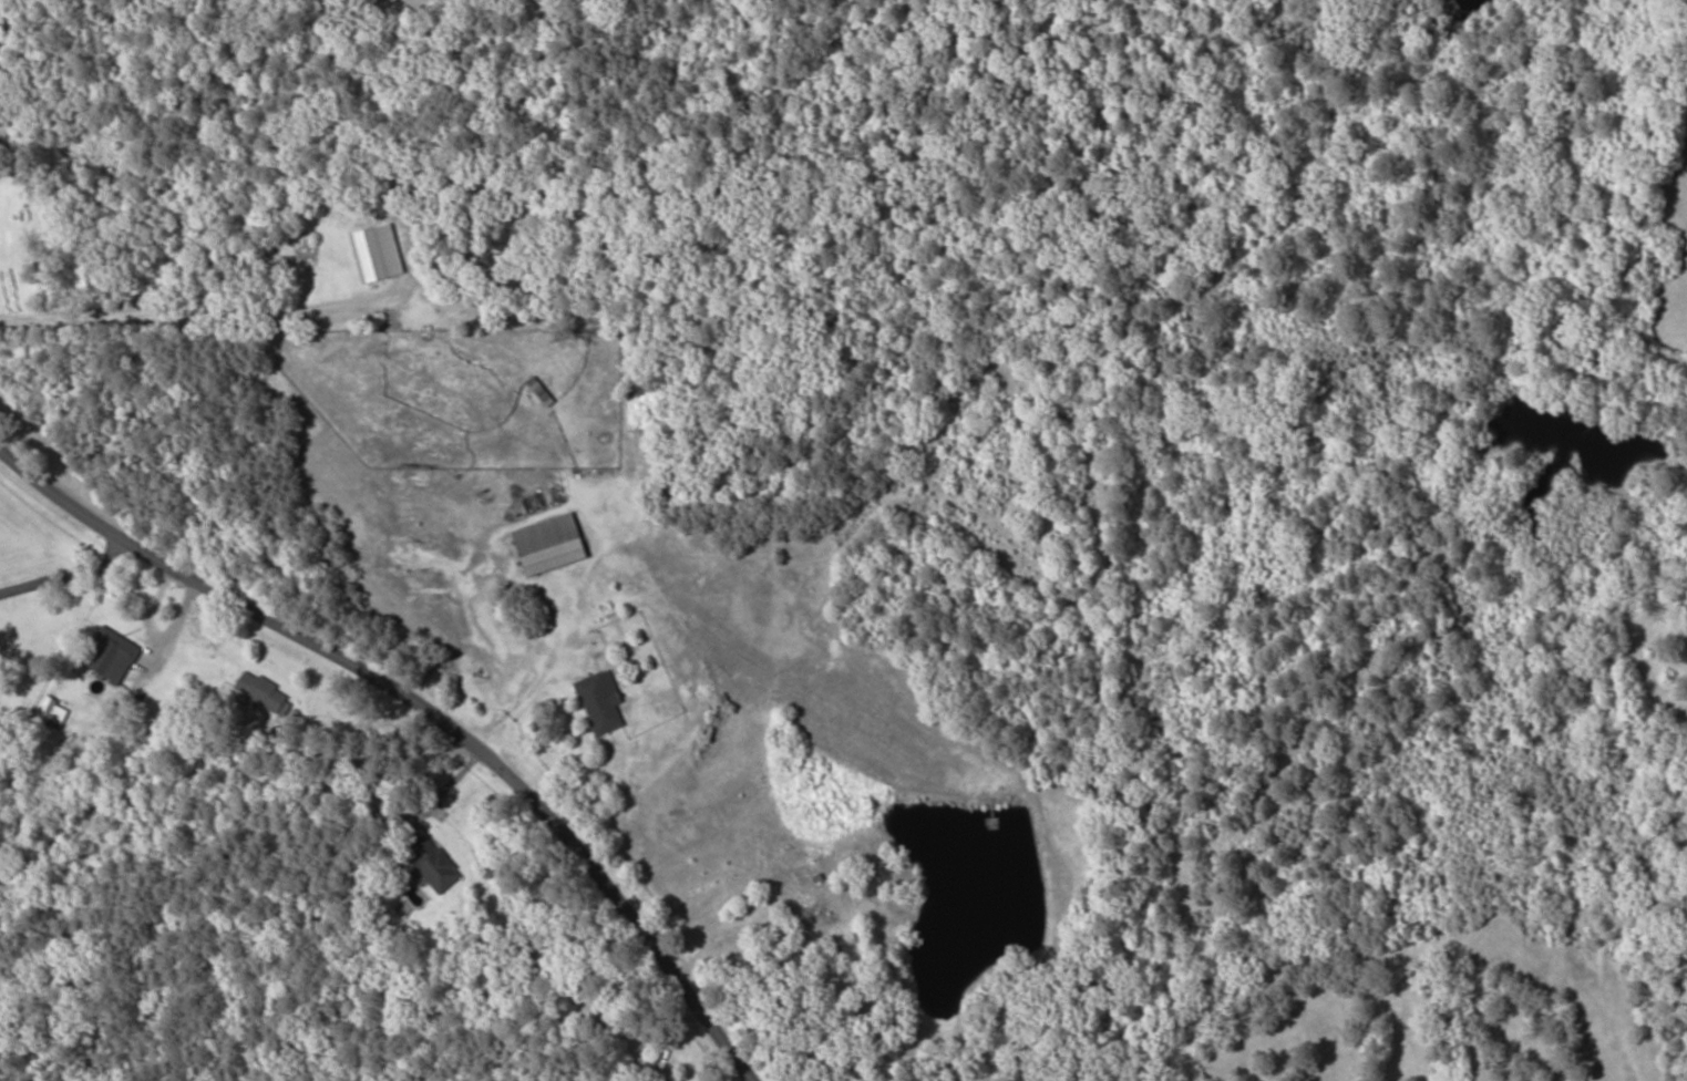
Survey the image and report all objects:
building: (364, 259)
building: (541, 392)
building: (551, 545)
building: (113, 656)
building: (261, 691)
road: (436, 698)
building: (601, 701)
building: (51, 713)
building: (432, 864)
building: (814, 890)

